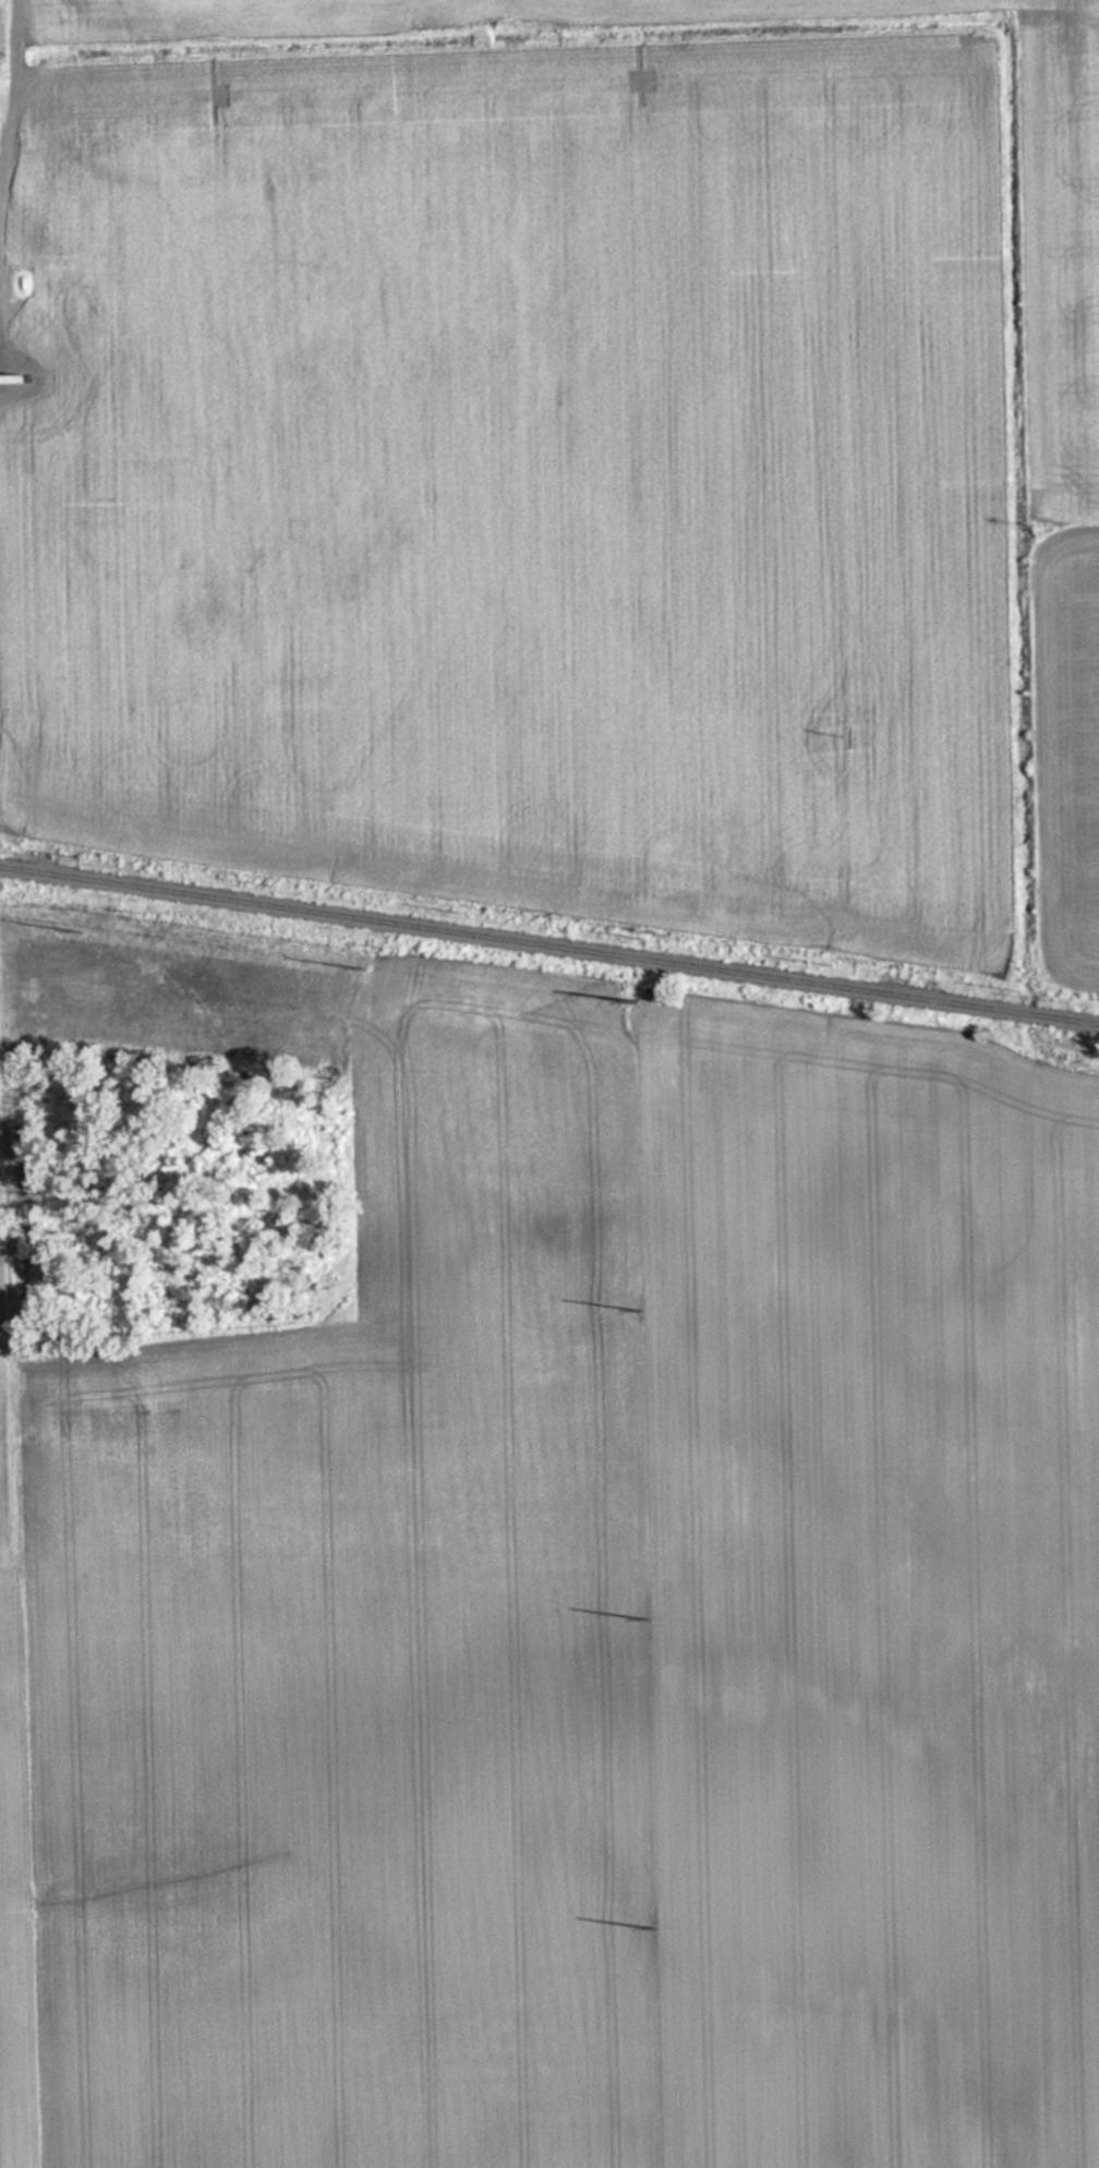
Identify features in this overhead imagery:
road: (15, 92)
wind turbine: (11, 381)
power tower: (81, 928)
railway: (548, 947)
power tower: (358, 968)
power tower: (640, 999)
power tower: (640, 1309)
power tower: (649, 1621)
power tower: (657, 1927)

